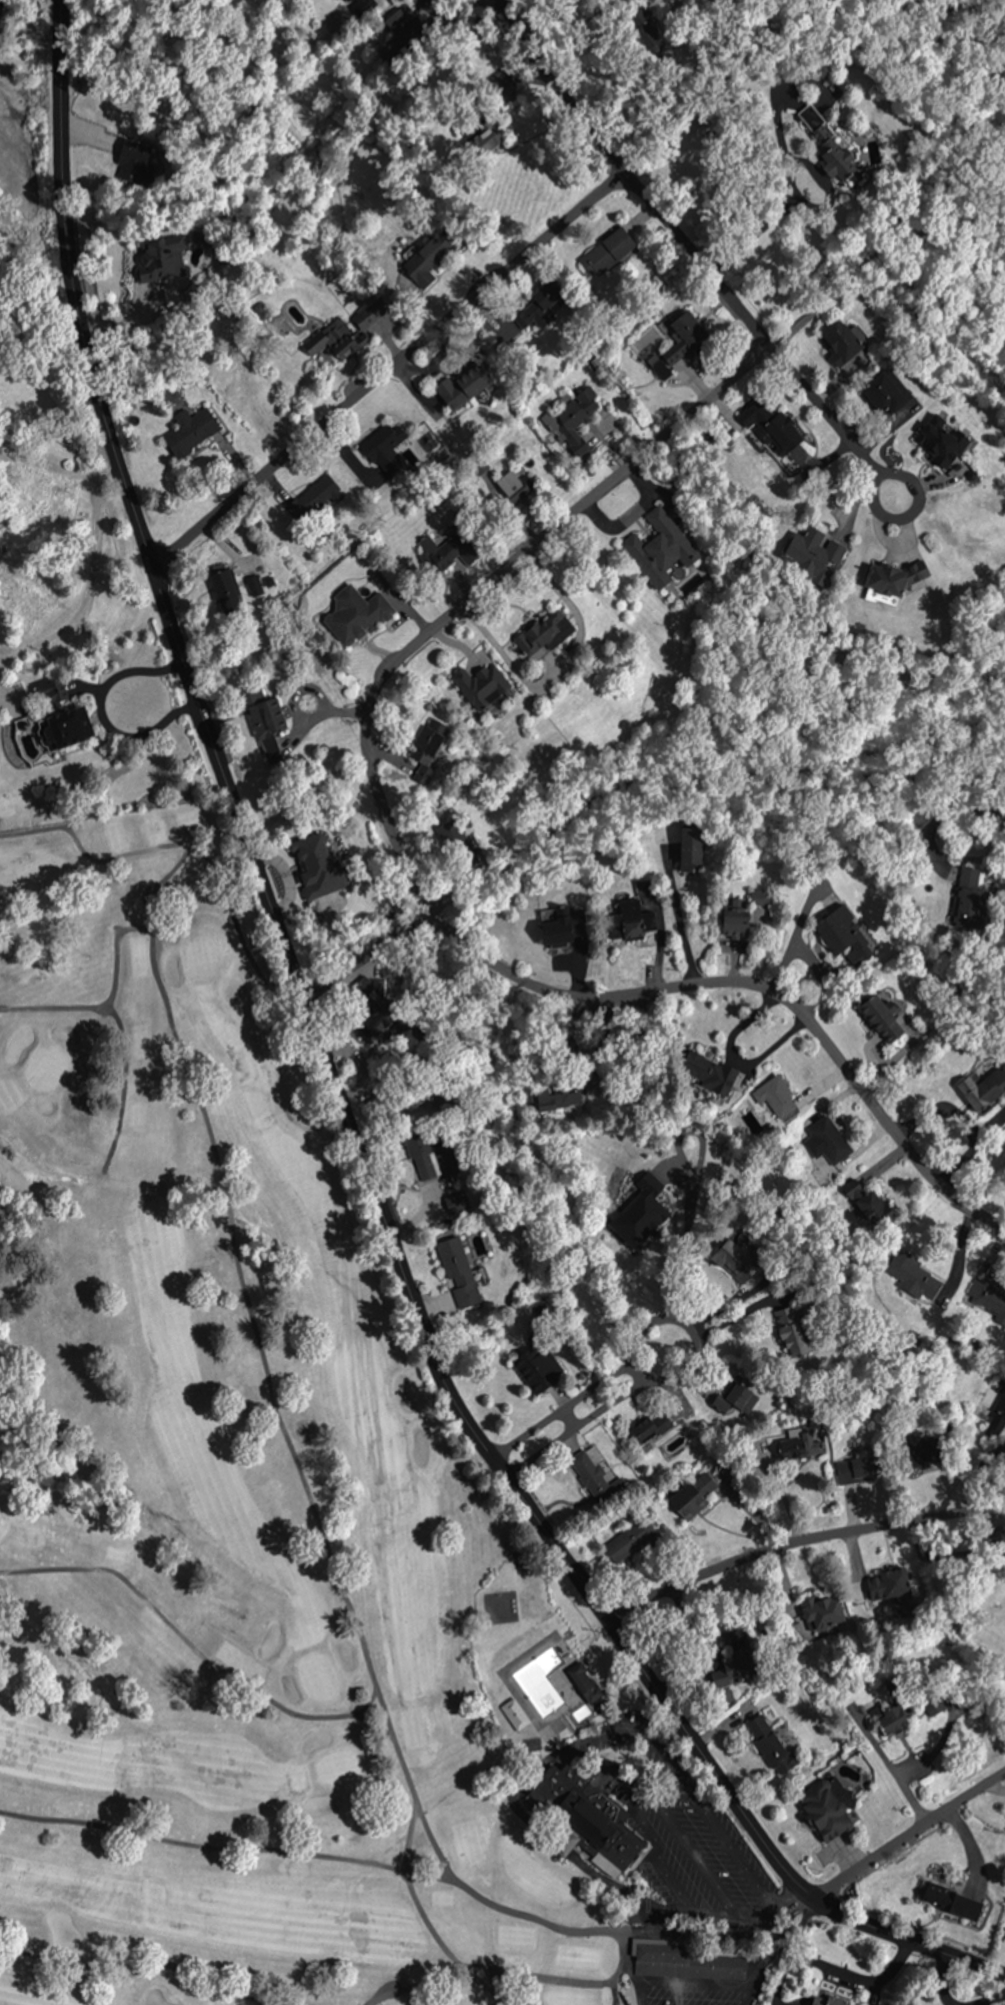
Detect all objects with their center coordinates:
building: (351, 0)
road: (487, 1)
building: (423, 2)
building: (1, 6)
building: (404, 25)
building: (649, 37)
building: (486, 138)
building: (132, 160)
building: (832, 160)
road: (682, 242)
building: (608, 255)
building: (162, 257)
building: (430, 259)
building: (551, 303)
building: (370, 315)
building: (506, 332)
building: (683, 338)
building: (839, 340)
building: (331, 343)
road: (388, 367)
building: (464, 387)
building: (885, 396)
building: (575, 422)
building: (189, 431)
building: (782, 435)
building: (941, 441)
building: (385, 452)
road: (900, 517)
building: (660, 551)
building: (447, 552)
building: (815, 555)
building: (891, 582)
building: (235, 584)
building: (357, 615)
building: (544, 635)
building: (481, 687)
building: (51, 693)
building: (264, 713)
building: (65, 729)
building: (691, 847)
road: (418, 889)
building: (737, 917)
building: (629, 920)
building: (561, 925)
building: (845, 937)
road: (367, 956)
building: (884, 1017)
building: (984, 1088)
building: (777, 1098)
road: (338, 1099)
building: (824, 1143)
building: (735, 1261)
building: (458, 1272)
road: (690, 1329)
building: (792, 1330)
road: (636, 1370)
building: (539, 1371)
building: (736, 1396)
building: (999, 1409)
road: (568, 1418)
building: (649, 1427)
building: (799, 1447)
building: (930, 1447)
building: (858, 1468)
building: (596, 1476)
building: (694, 1494)
park: (279, 1534)
building: (630, 1540)
road: (800, 1542)
building: (879, 1588)
building: (825, 1616)
building: (741, 1653)
building: (586, 1683)
building: (288, 1687)
building: (515, 1714)
building: (891, 1722)
building: (769, 1744)
building: (580, 1804)
building: (825, 1809)
road: (909, 1835)
building: (565, 1843)
building: (952, 1901)
building: (682, 1961)
building: (819, 2002)

